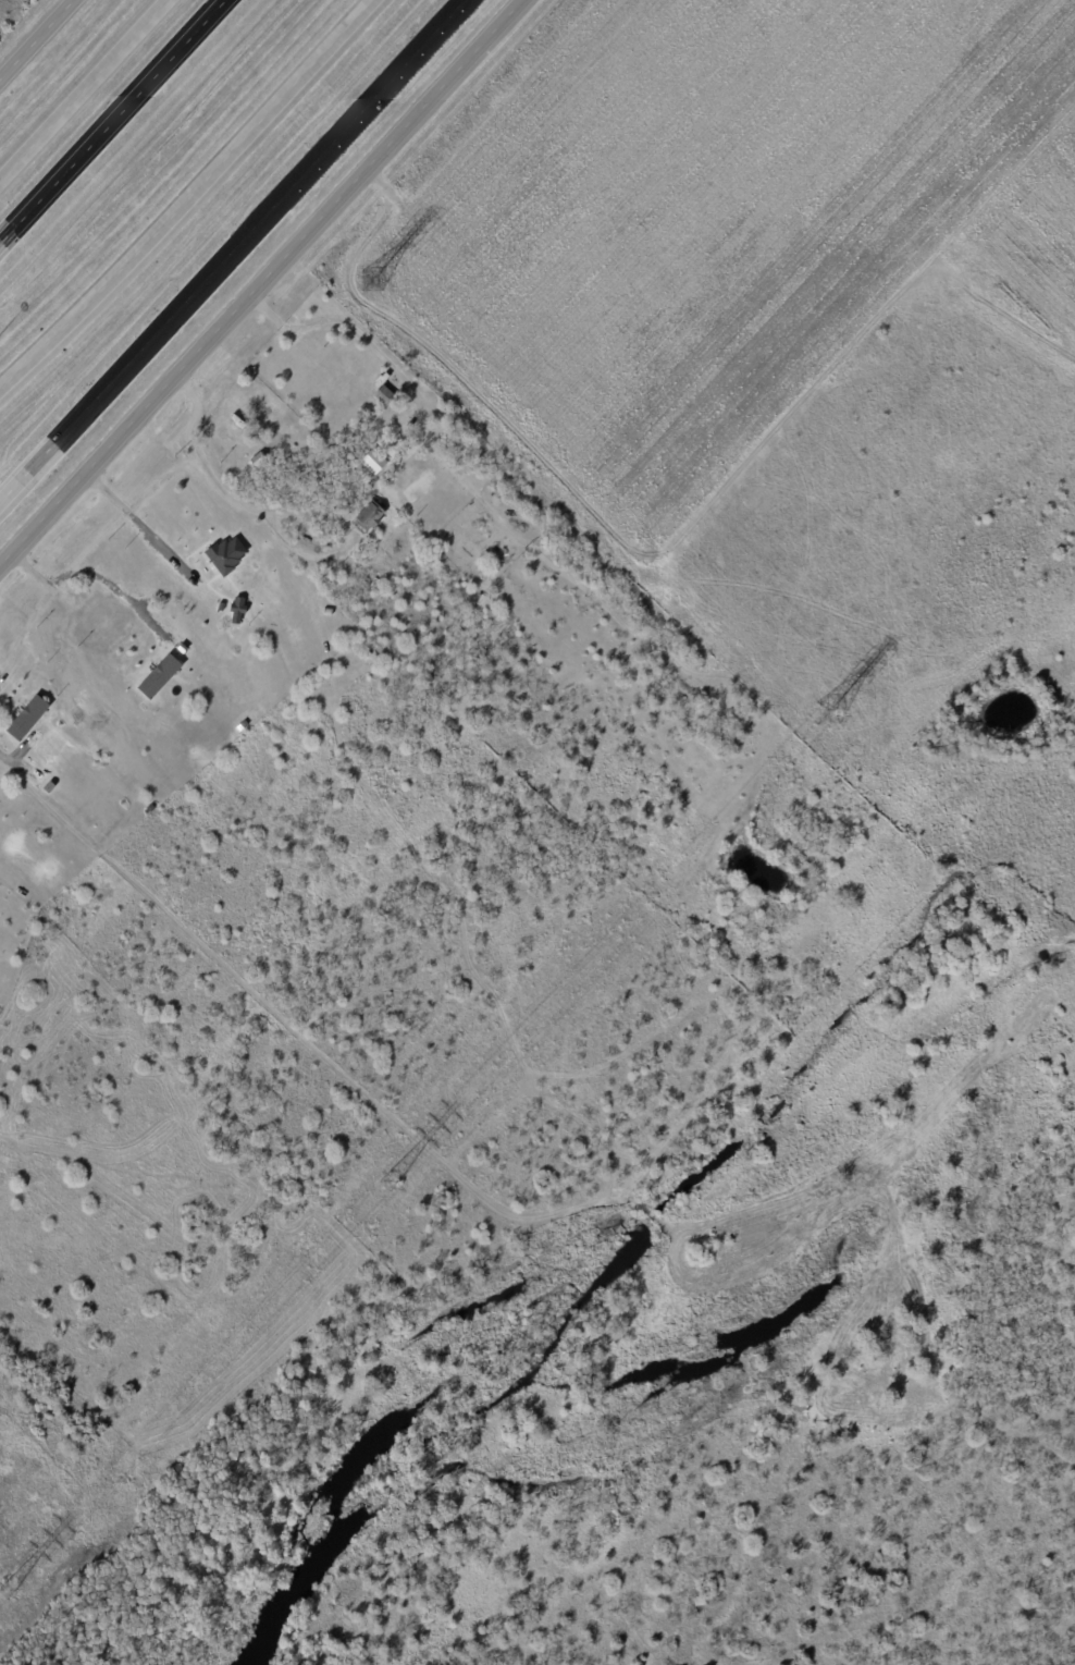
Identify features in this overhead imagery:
road: (34, 37)
road: (83, 88)
road: (112, 121)
road: (191, 197)
road: (246, 234)
road: (260, 282)
power tower: (363, 282)
building: (228, 431)
building: (398, 432)
building: (408, 436)
building: (351, 452)
building: (372, 461)
road: (14, 487)
building: (369, 516)
road: (137, 527)
building: (223, 553)
road: (97, 572)
building: (373, 580)
building: (482, 602)
building: (157, 675)
building: (34, 710)
power tower: (817, 711)
road: (3, 759)
power tower: (382, 1180)
building: (699, 1601)

